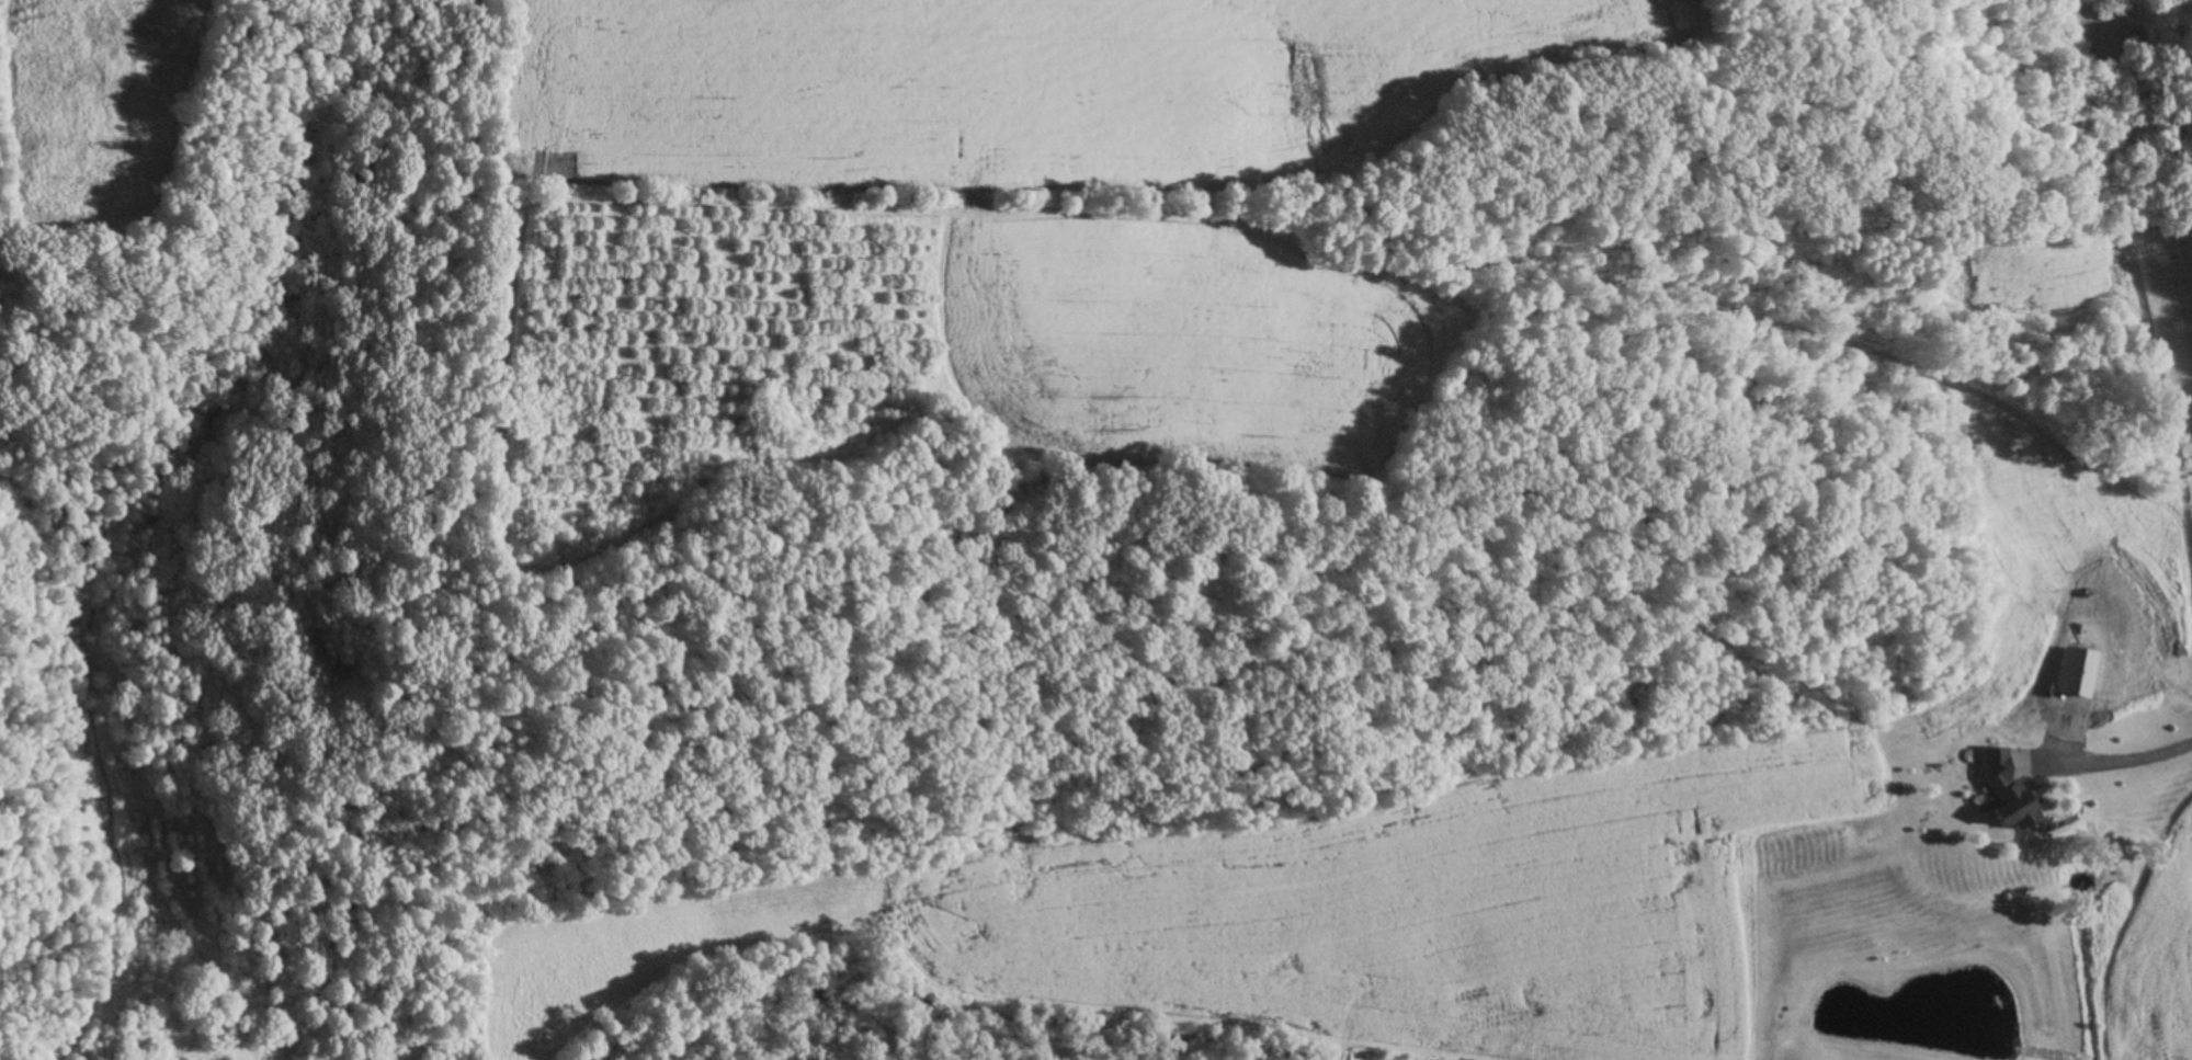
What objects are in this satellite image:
road: (2128, 82)
road: (2189, 169)
road: (2114, 760)
building: (2007, 790)

